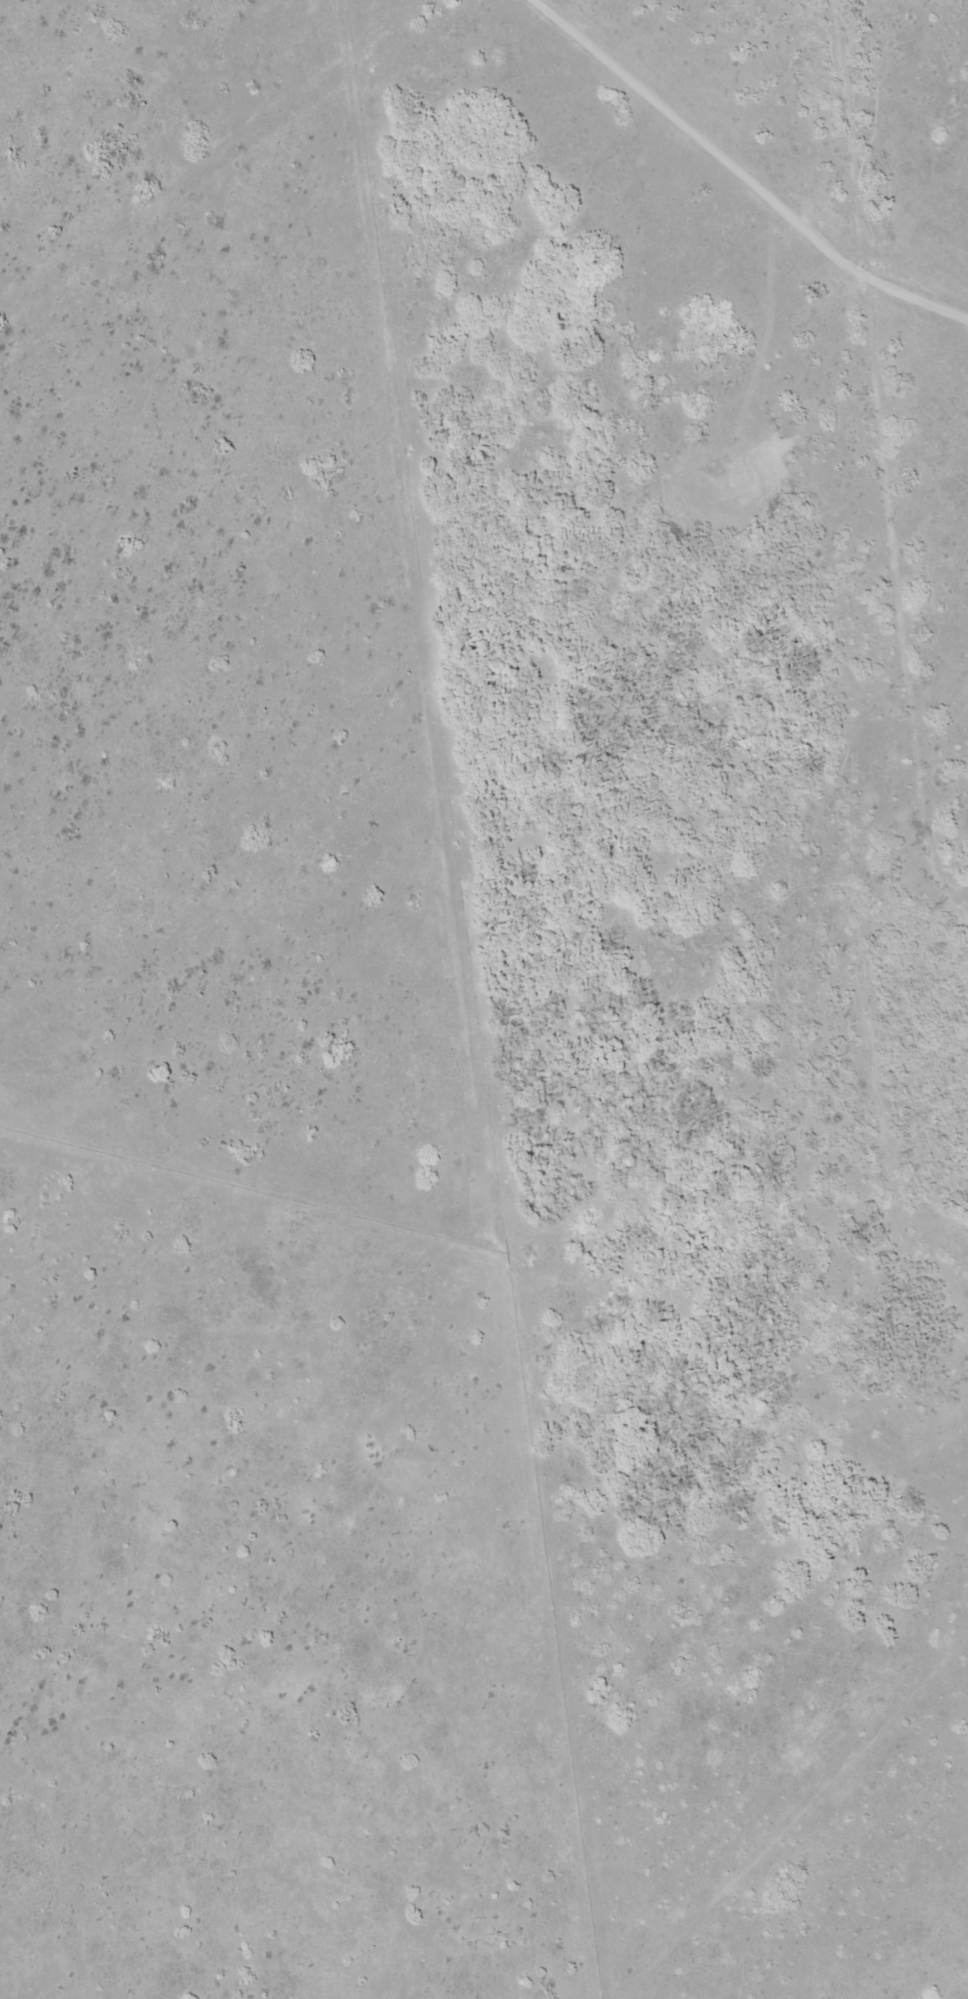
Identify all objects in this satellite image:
road: (736, 177)

